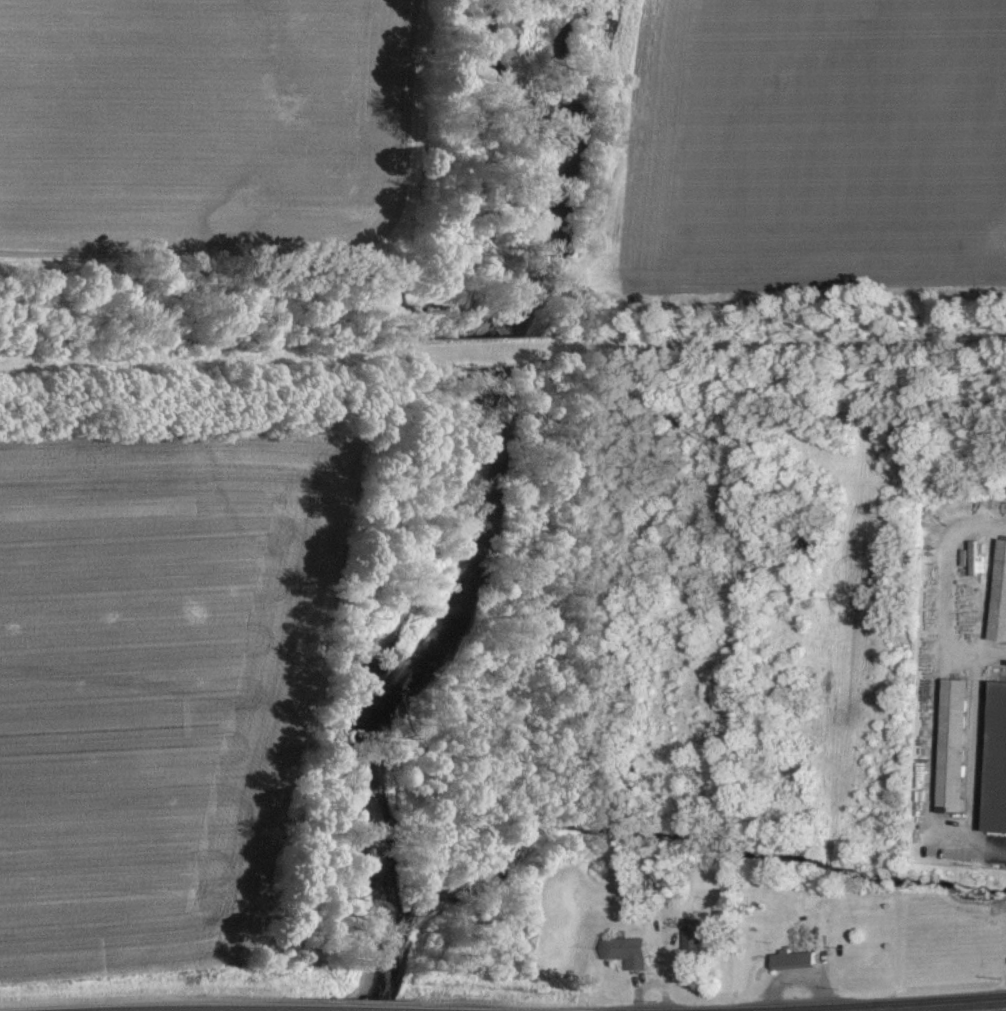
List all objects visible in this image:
building: (1000, 595)
building: (953, 732)
road: (972, 756)
building: (997, 762)
building: (921, 775)
building: (692, 934)
building: (626, 952)
building: (794, 960)
road: (981, 1009)

